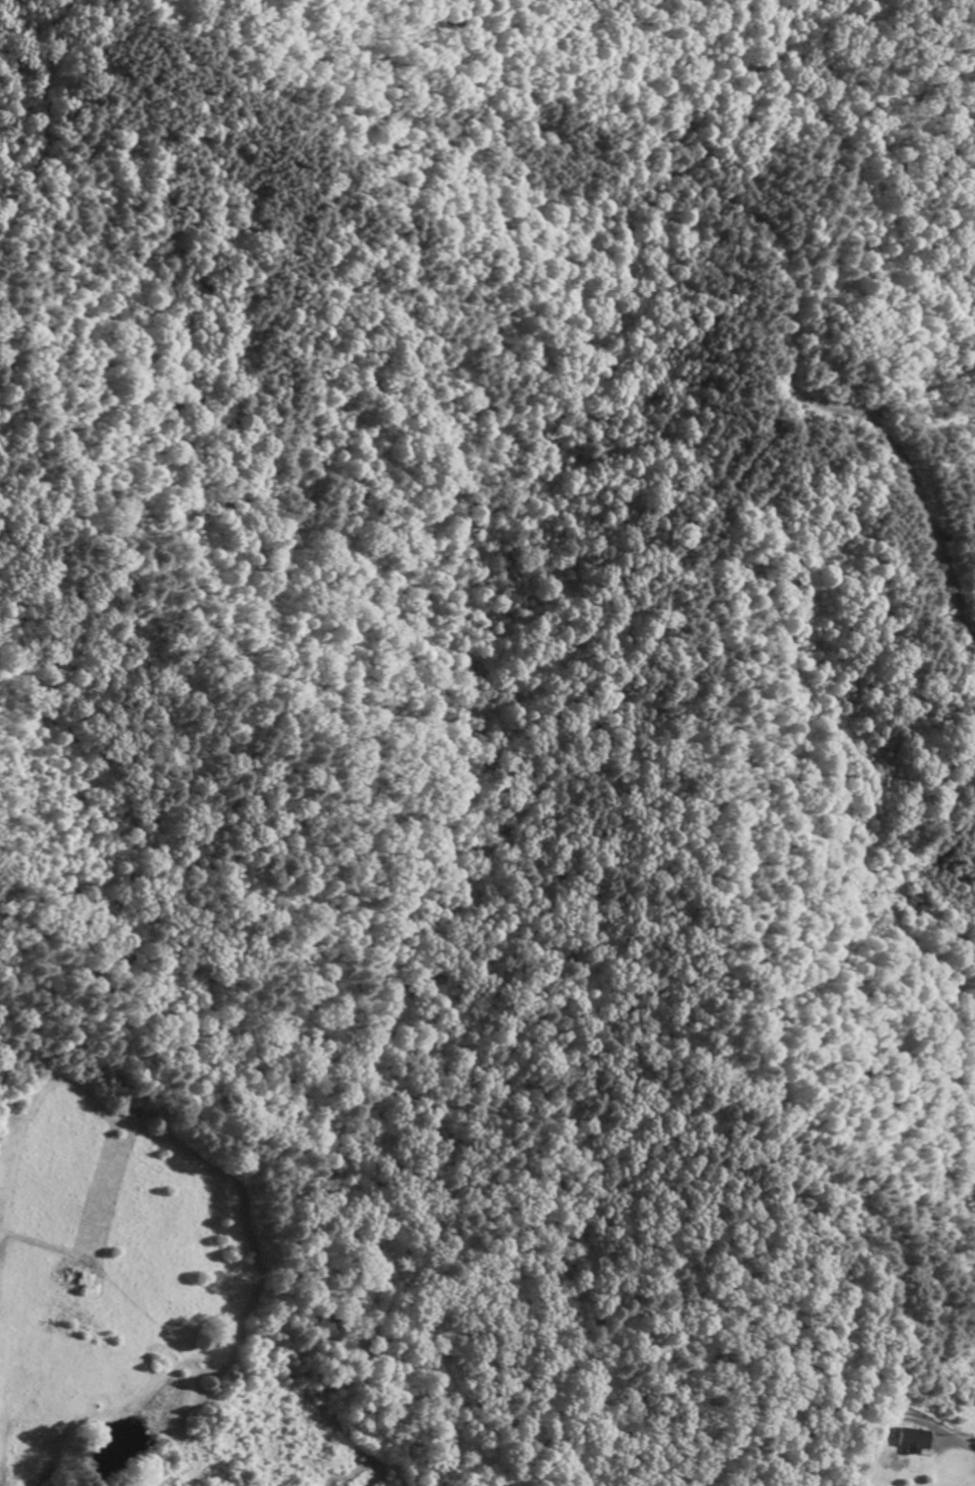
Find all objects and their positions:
building: (909, 1442)

